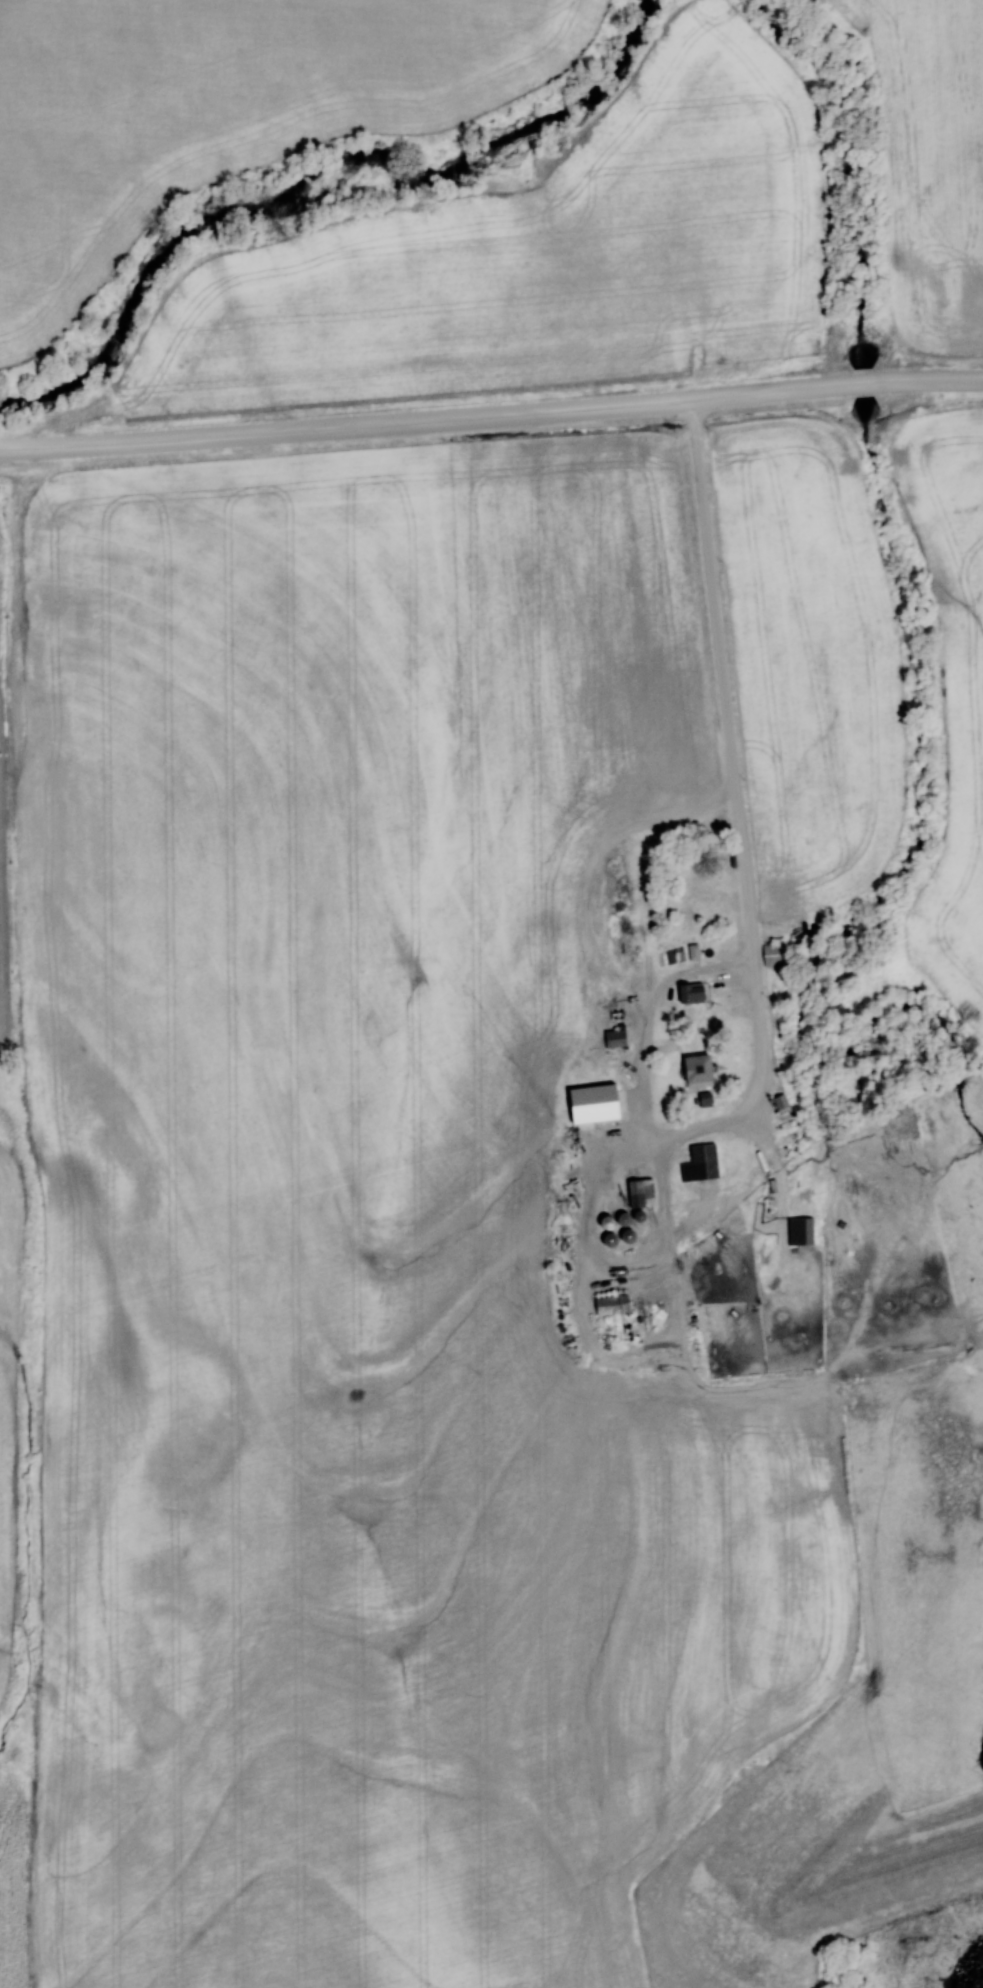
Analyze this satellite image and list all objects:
river: (315, 171)
road: (927, 376)
road: (424, 419)
road: (721, 742)
building: (692, 950)
building: (773, 953)
building: (689, 991)
building: (614, 1037)
building: (696, 1069)
building: (781, 1102)
building: (698, 1162)
building: (638, 1192)
building: (806, 1213)
building: (603, 1221)
building: (624, 1229)
building: (610, 1304)
dam: (878, 1878)

